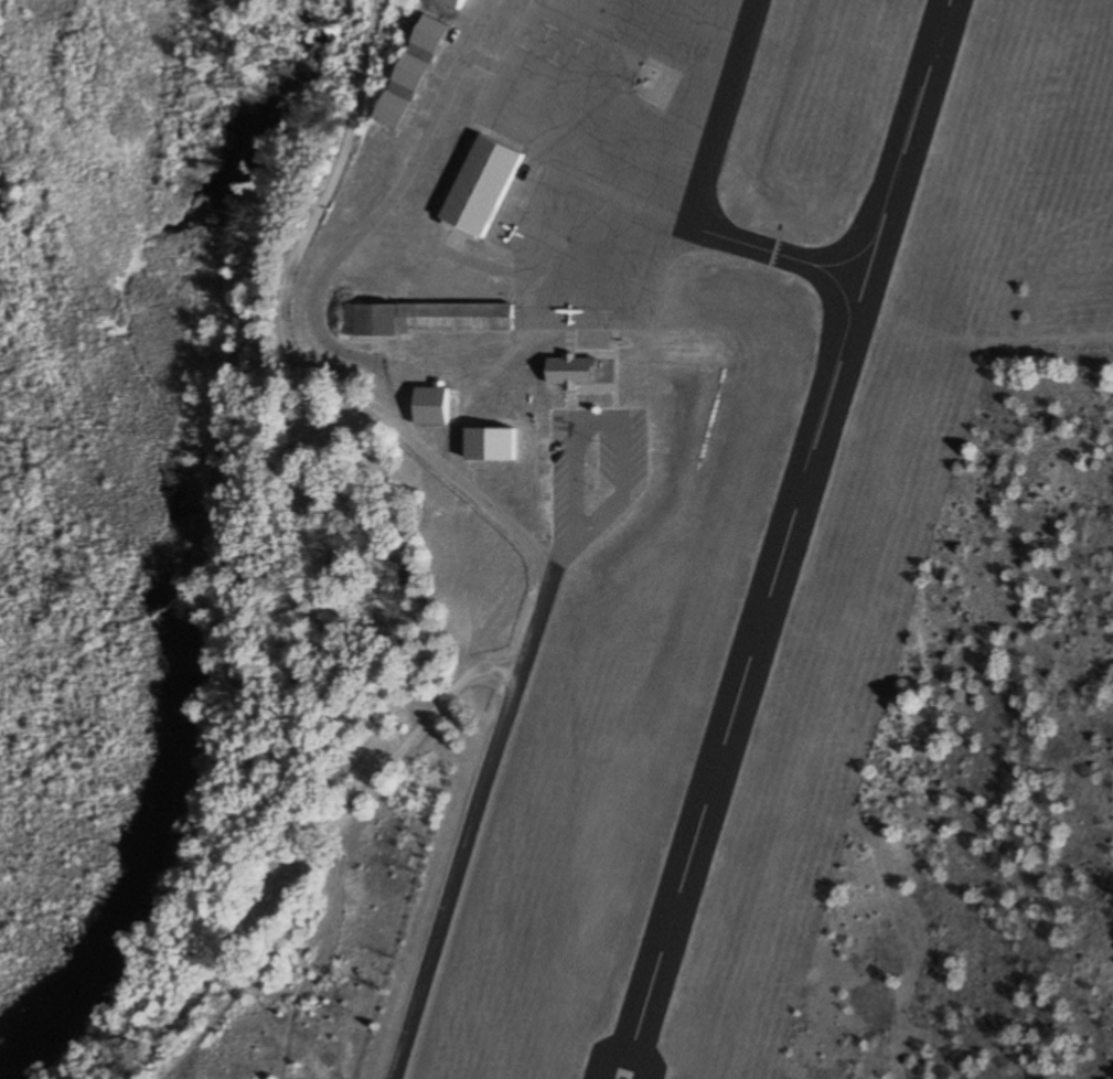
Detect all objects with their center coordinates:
building: (421, 1)
airport hangar: (454, 3)
building: (454, 3)
airport hangar: (413, 72)
building: (413, 72)
airport taxiway: (723, 113)
airport apron: (608, 149)
airport hangar: (483, 185)
building: (483, 185)
road: (309, 238)
airport taxiway: (779, 254)
road: (317, 311)
airport hangar: (427, 318)
building: (427, 318)
building: (579, 403)
building: (432, 406)
building: (558, 420)
building: (492, 441)
airport: (737, 509)
airport runway: (789, 538)
road: (509, 720)

